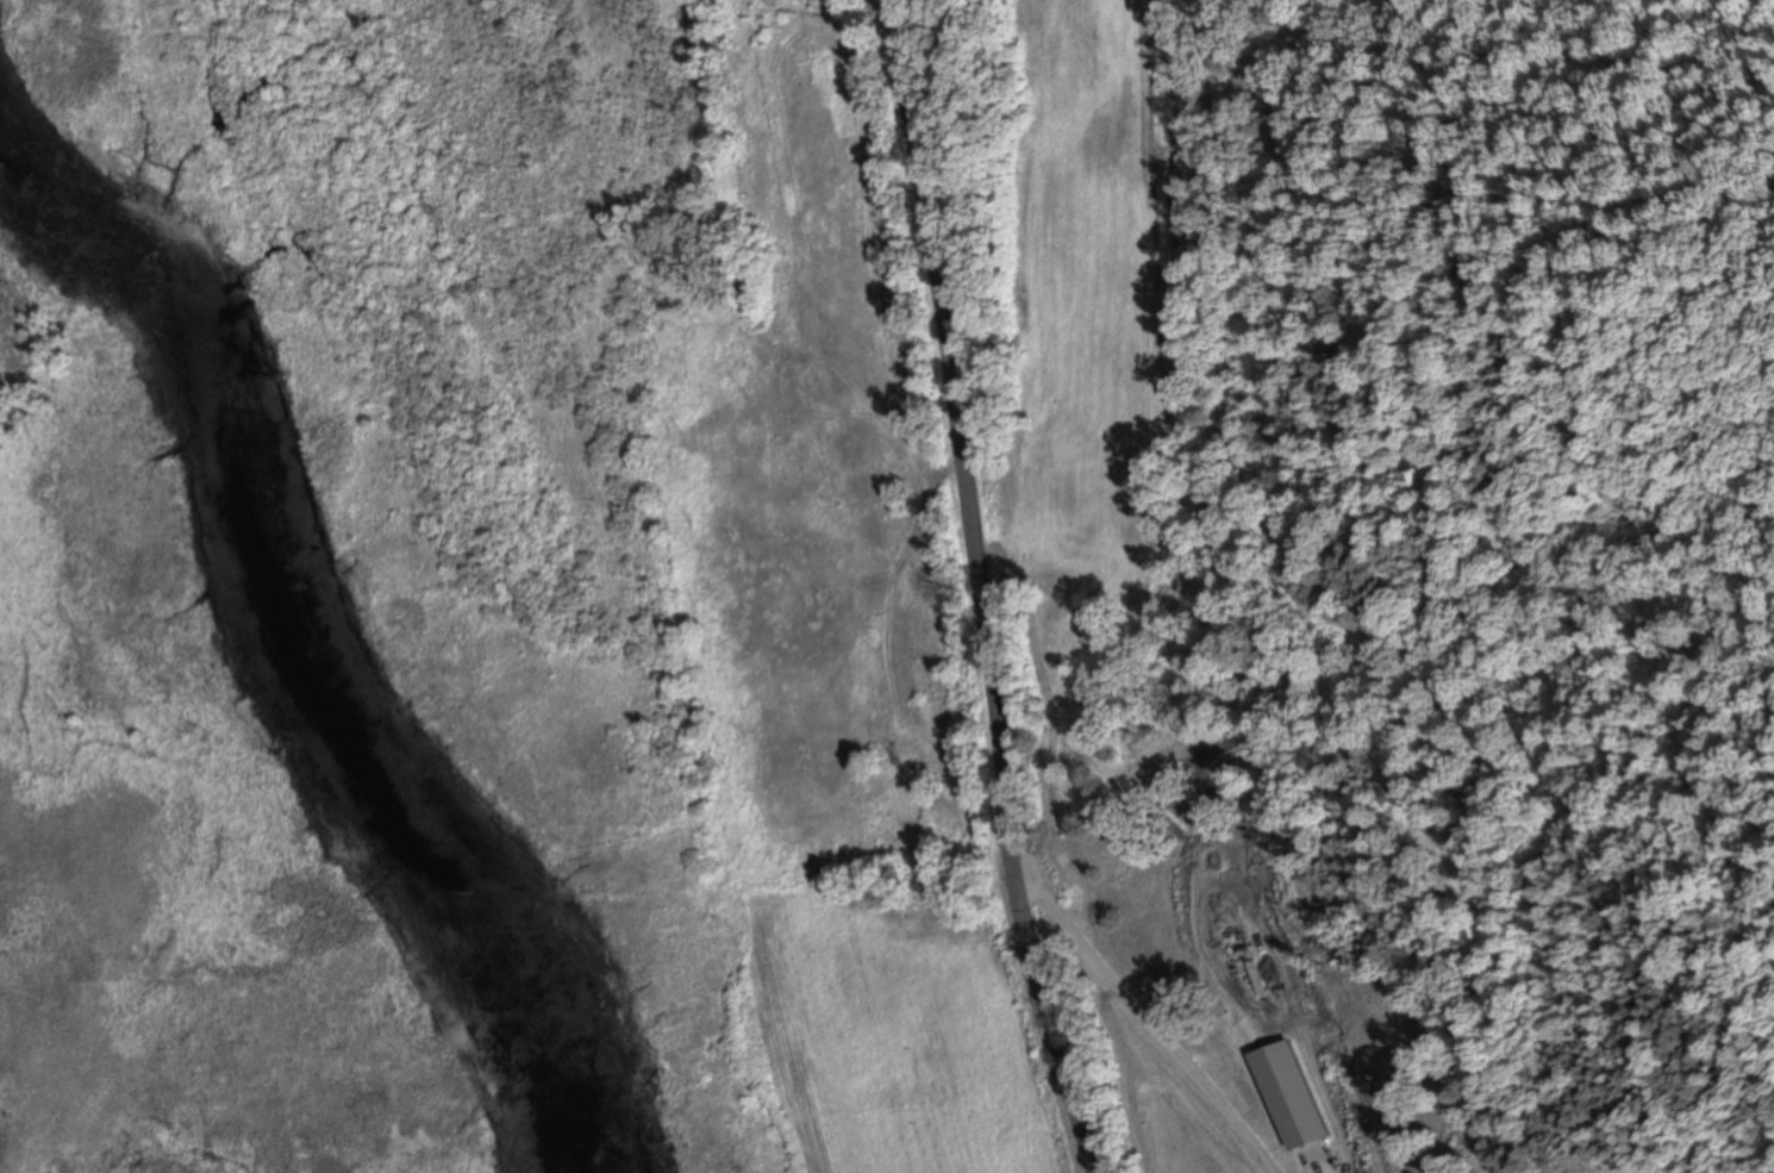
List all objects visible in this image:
road: (882, 17)
road: (932, 594)

